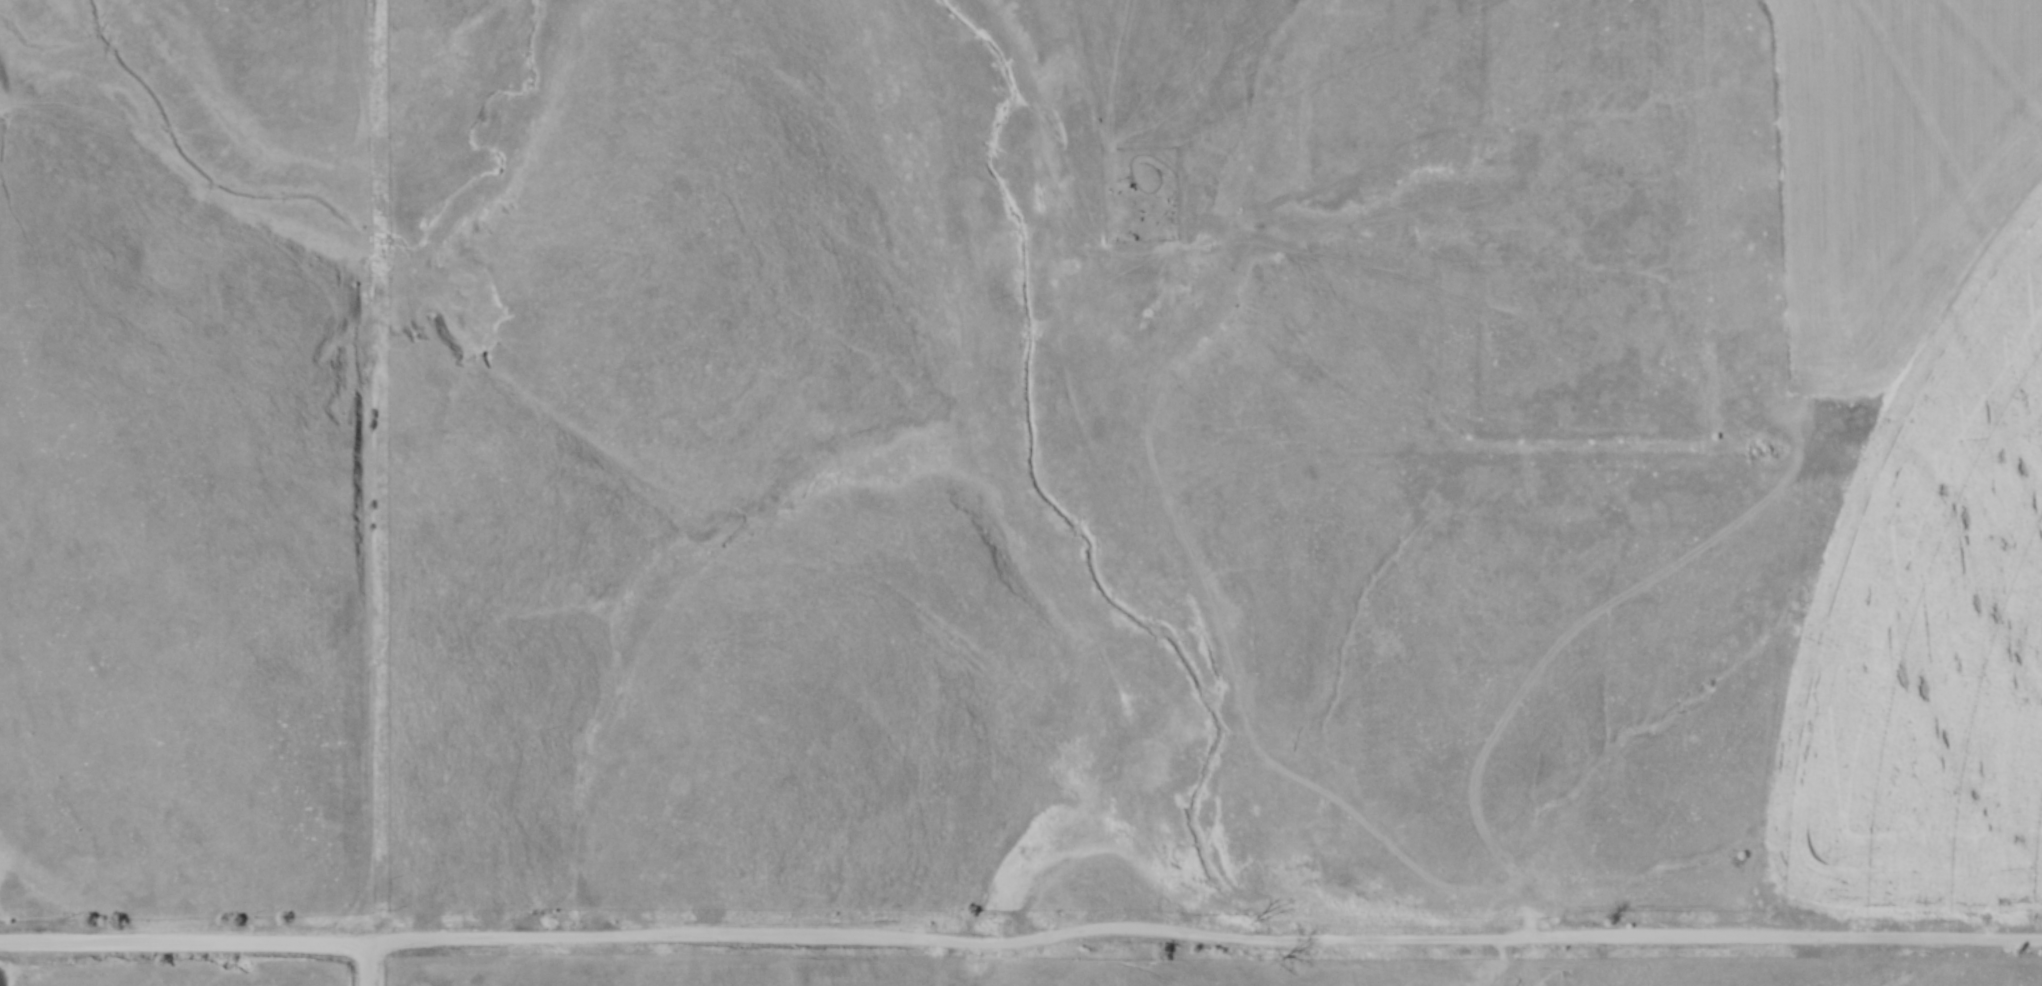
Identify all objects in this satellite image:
road: (184, 943)
road: (369, 965)

